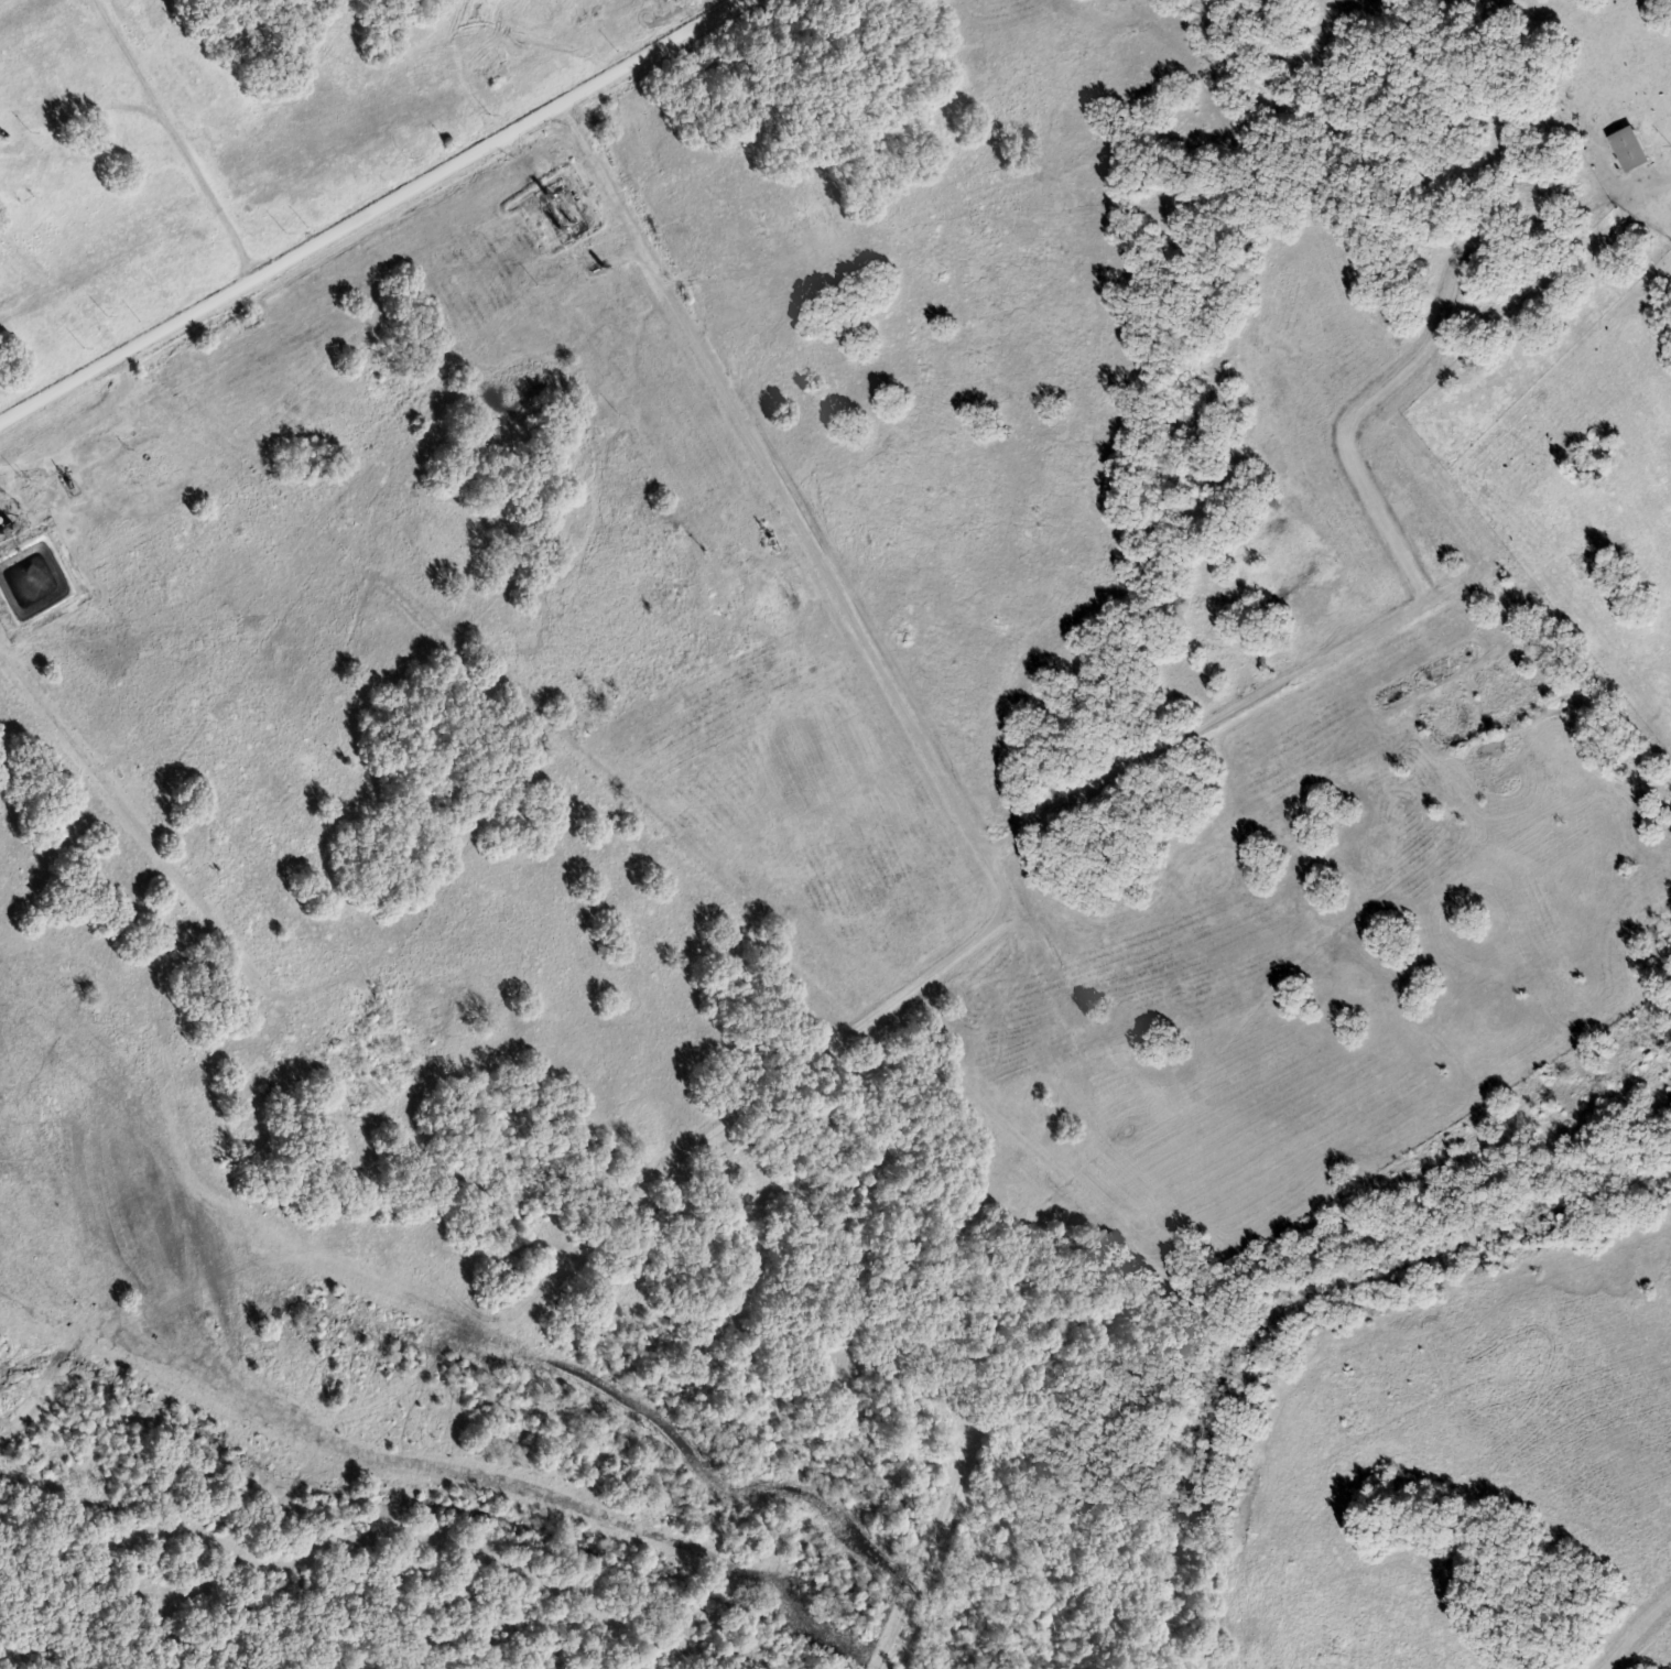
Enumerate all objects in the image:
road: (176, 138)
building: (1631, 150)
road: (1661, 183)
road: (375, 210)
road: (897, 692)
road: (1244, 706)
road: (172, 870)

